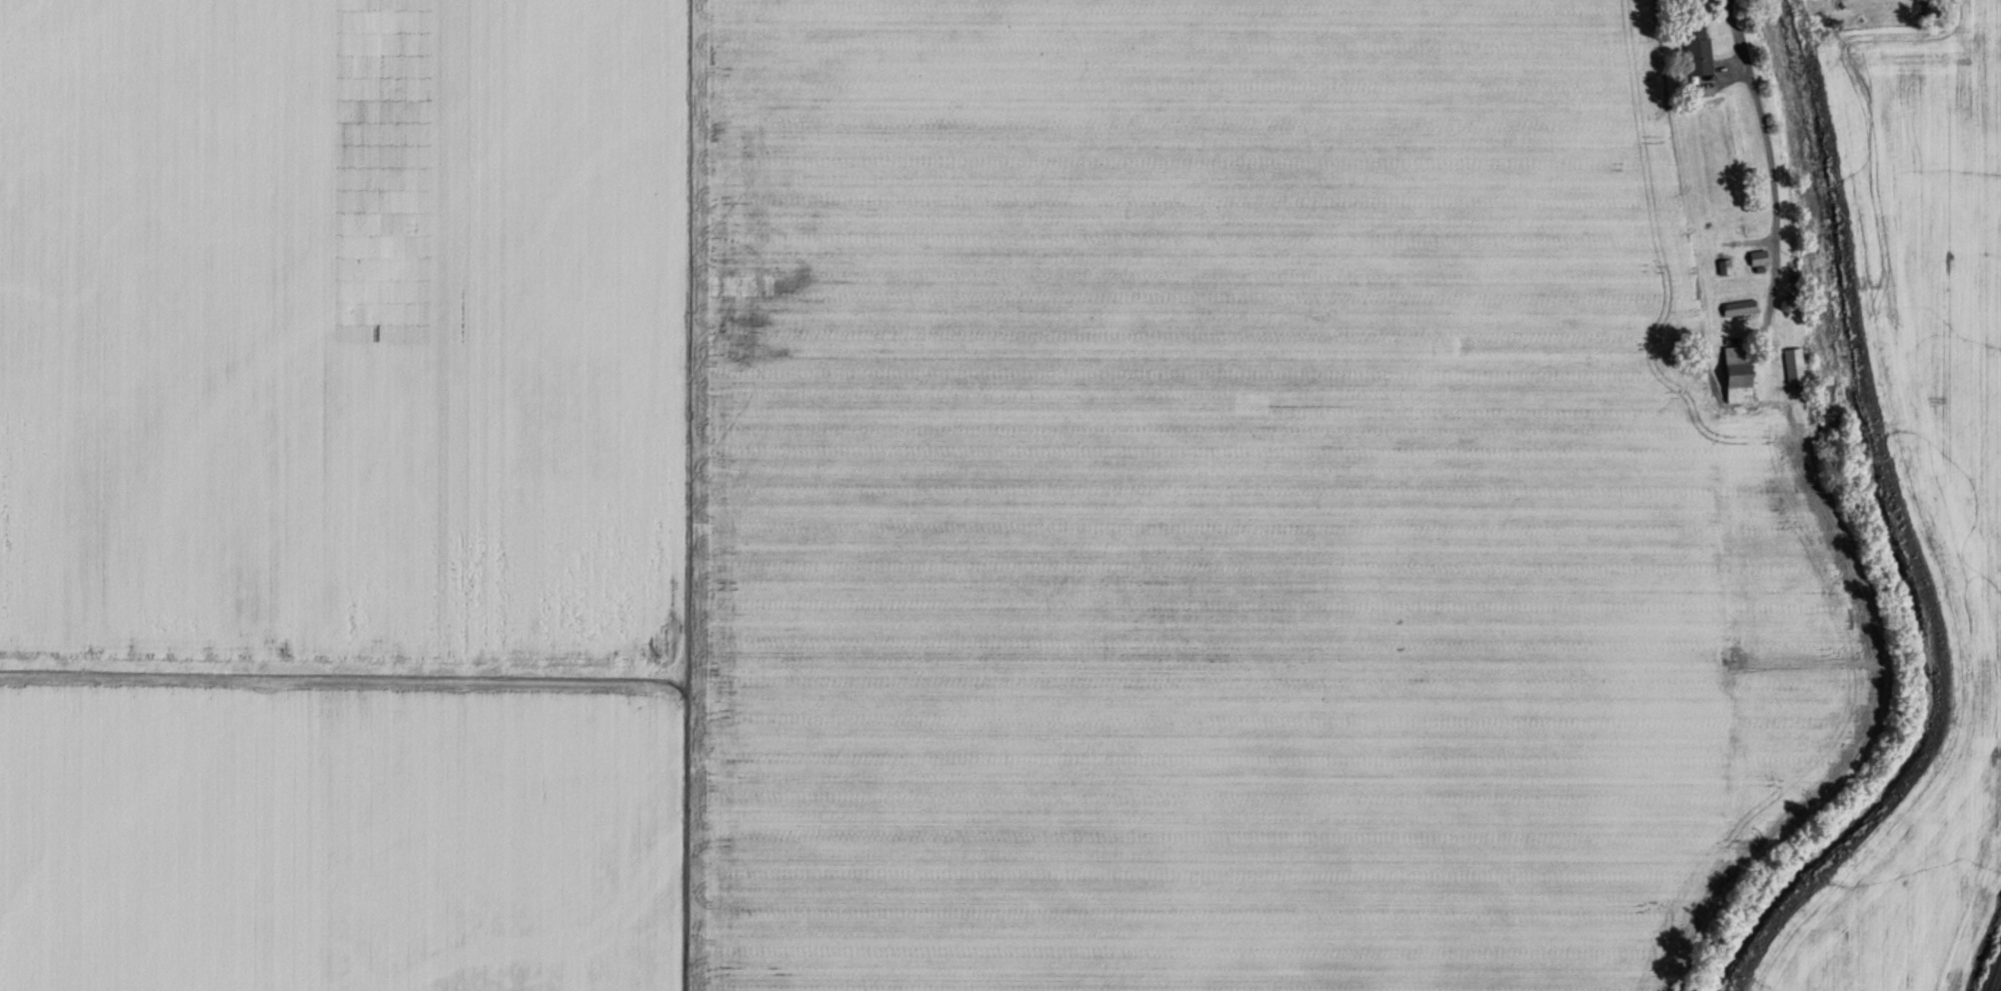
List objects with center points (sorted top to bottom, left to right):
building: (1697, 46)
road: (1770, 133)
building: (1740, 209)
building: (1759, 256)
building: (1740, 306)
building: (1794, 364)
building: (1739, 372)
railway: (1995, 974)
railway: (2000, 990)

